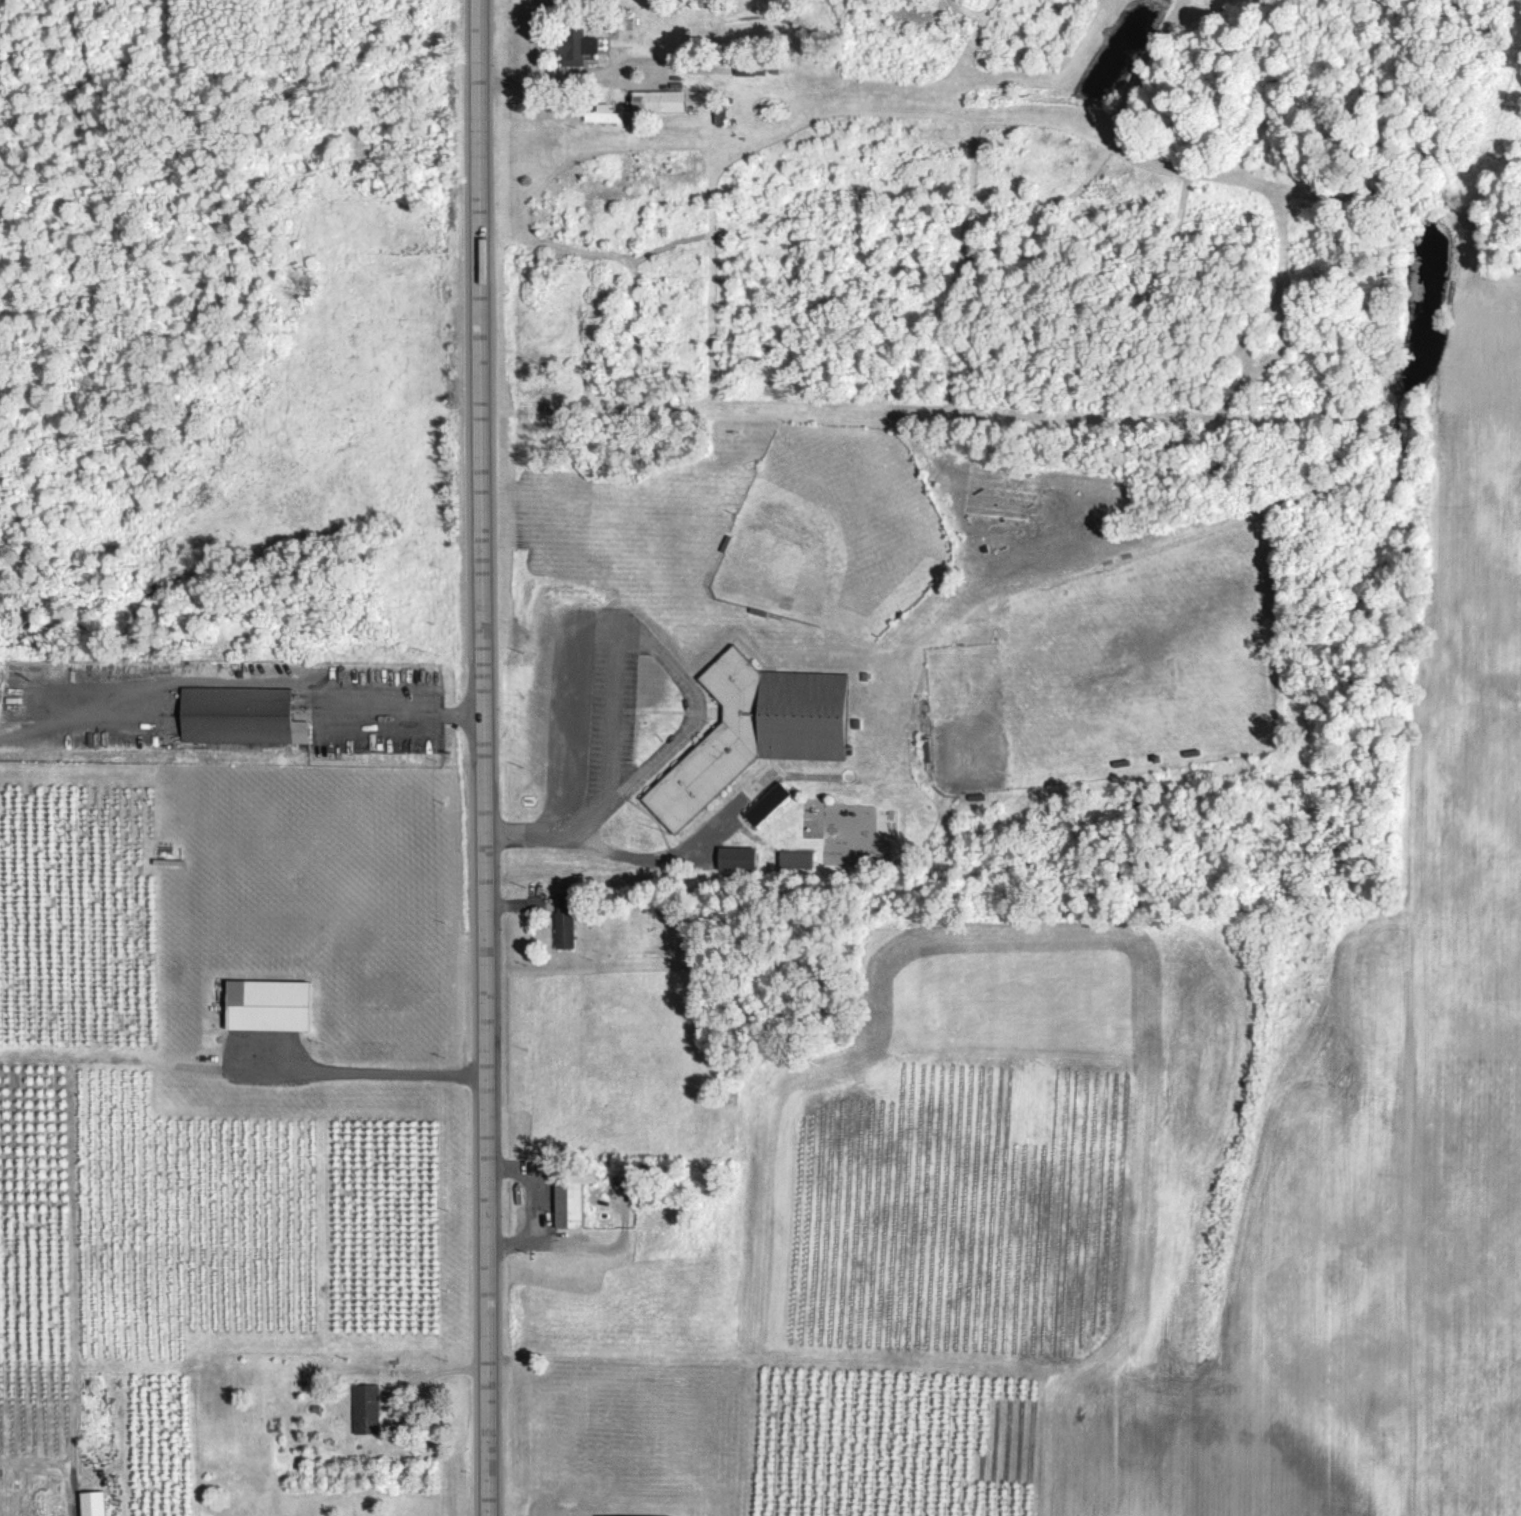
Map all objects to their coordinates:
building: (576, 51)
road: (601, 75)
building: (662, 101)
building: (604, 114)
park: (833, 534)
road: (693, 707)
road: (405, 712)
building: (246, 716)
building: (758, 732)
road: (486, 757)
building: (772, 803)
building: (742, 859)
road: (654, 860)
building: (802, 860)
building: (567, 920)
building: (275, 1005)
building: (572, 1202)
building: (370, 1409)
building: (98, 1503)
building: (650, 1515)

